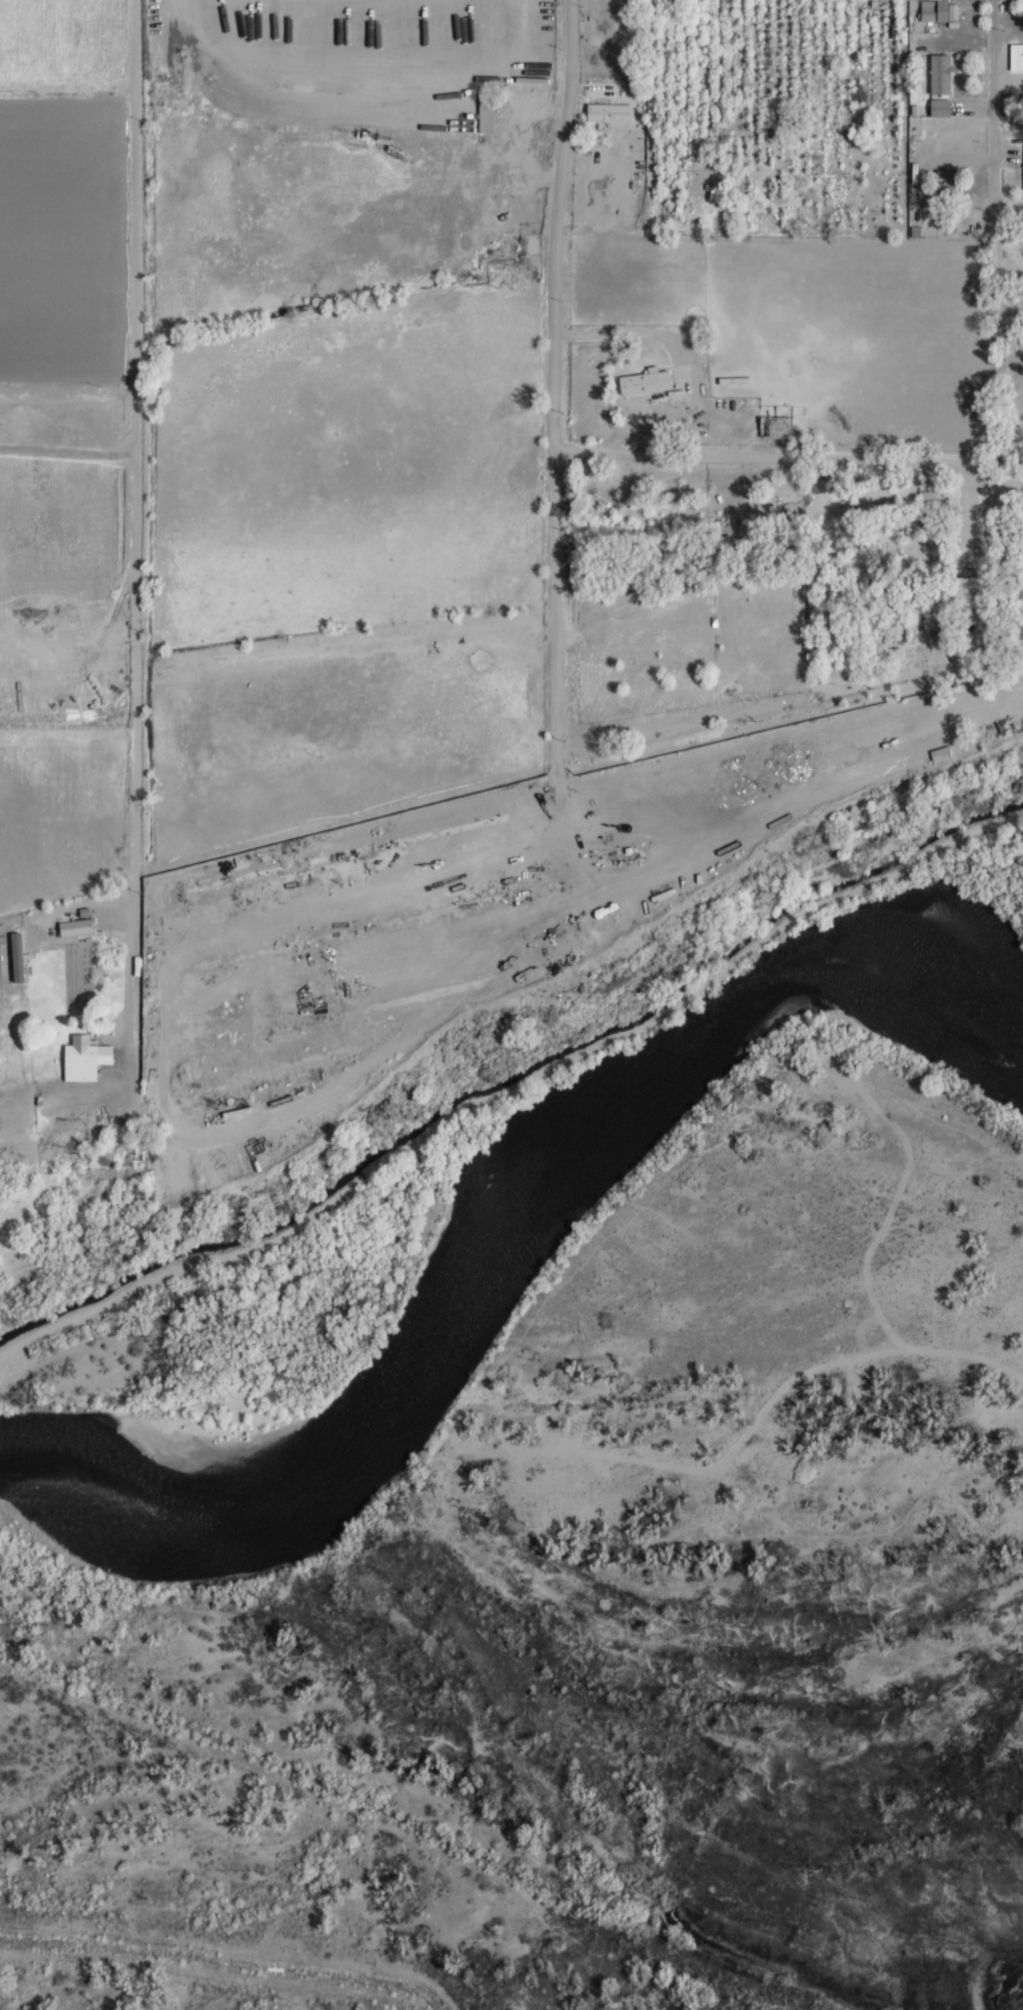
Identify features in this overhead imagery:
building: (1022, 7)
building: (936, 10)
building: (1022, 67)
building: (940, 74)
building: (940, 107)
building: (488, 109)
building: (608, 112)
road: (965, 159)
building: (946, 184)
road: (511, 368)
building: (645, 382)
building: (779, 428)
road: (769, 438)
building: (927, 550)
building: (965, 592)
road: (470, 752)
building: (75, 927)
building: (85, 1062)
river: (507, 1260)

